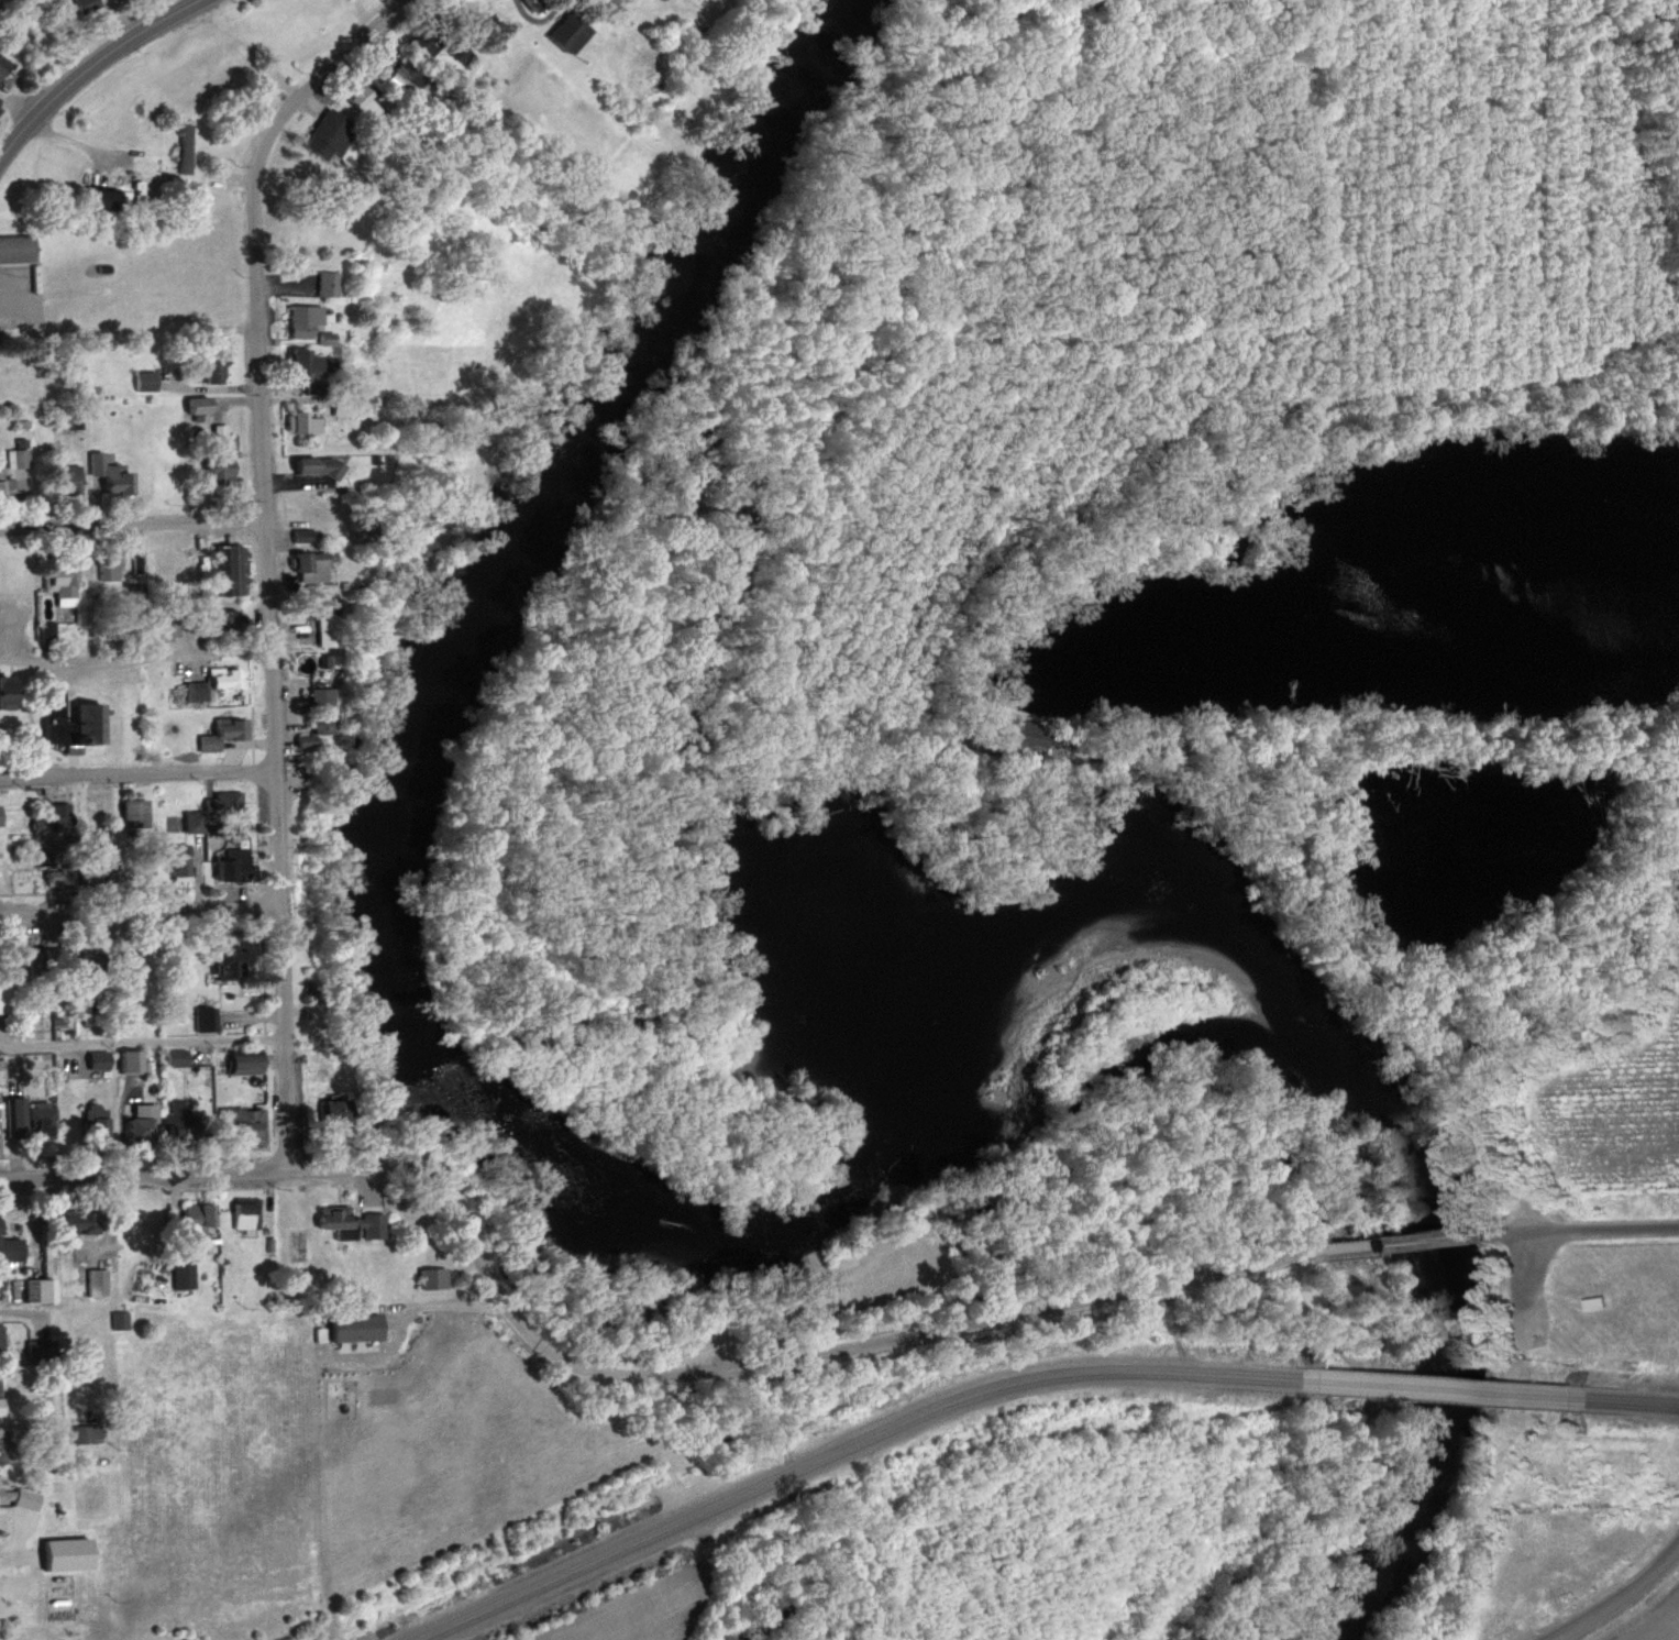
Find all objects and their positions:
building: (88, 4)
building: (568, 31)
building: (428, 38)
river: (1672, 38)
building: (3, 64)
road: (91, 67)
building: (409, 74)
building: (1, 100)
building: (367, 100)
building: (330, 132)
building: (187, 147)
building: (112, 198)
road: (253, 229)
building: (19, 246)
building: (328, 283)
building: (305, 319)
building: (327, 337)
building: (312, 367)
building: (217, 368)
building: (146, 379)
building: (201, 404)
building: (303, 421)
building: (221, 431)
building: (14, 465)
building: (317, 465)
building: (223, 470)
building: (113, 474)
road: (131, 525)
building: (303, 535)
building: (308, 564)
building: (114, 566)
building: (232, 569)
building: (63, 585)
building: (229, 617)
building: (324, 624)
building: (47, 629)
road: (134, 657)
building: (324, 660)
building: (225, 676)
building: (196, 690)
building: (10, 693)
building: (319, 697)
building: (91, 722)
building: (58, 724)
building: (320, 724)
building: (233, 727)
building: (306, 740)
building: (210, 741)
road: (136, 773)
building: (222, 802)
building: (136, 813)
building: (1, 814)
building: (57, 819)
building: (194, 821)
road: (277, 846)
building: (181, 863)
building: (232, 863)
building: (60, 877)
road: (141, 910)
building: (47, 955)
building: (231, 965)
building: (4, 998)
building: (205, 1019)
road: (141, 1042)
building: (176, 1056)
building: (99, 1059)
building: (133, 1060)
building: (248, 1064)
building: (1, 1075)
building: (340, 1109)
building: (15, 1116)
building: (43, 1120)
building: (96, 1120)
building: (180, 1120)
building: (142, 1123)
building: (250, 1126)
road: (141, 1174)
river: (699, 1190)
building: (244, 1214)
building: (200, 1217)
building: (354, 1221)
building: (80, 1222)
road: (1588, 1233)
road: (1434, 1241)
building: (10, 1247)
building: (46, 1251)
building: (183, 1275)
building: (433, 1277)
building: (97, 1281)
building: (41, 1290)
building: (1592, 1300)
building: (119, 1320)
building: (358, 1328)
building: (0, 1343)
building: (41, 1349)
road: (780, 1363)
road: (1441, 1390)
building: (0, 1391)
road: (1634, 1401)
building: (86, 1433)
building: (2, 1448)
road: (843, 1449)
building: (20, 1497)
building: (68, 1554)
road: (1614, 1600)

